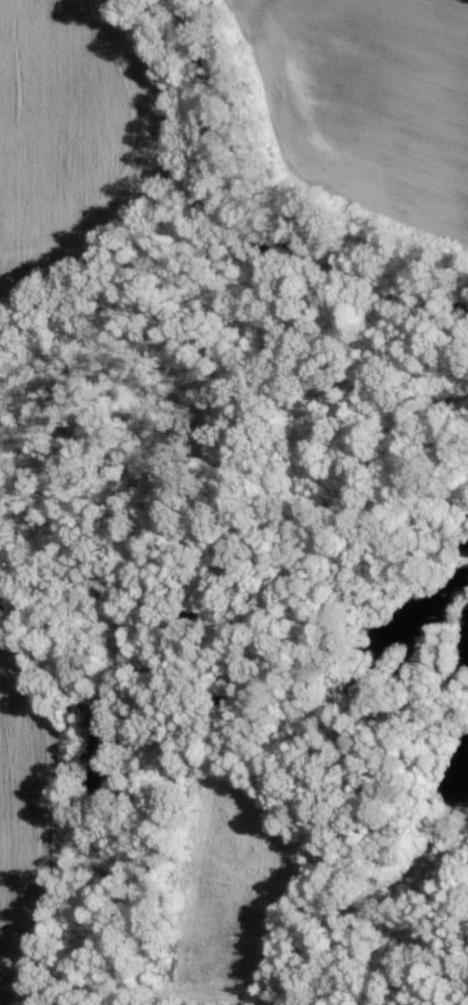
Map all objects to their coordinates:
road: (106, 997)

